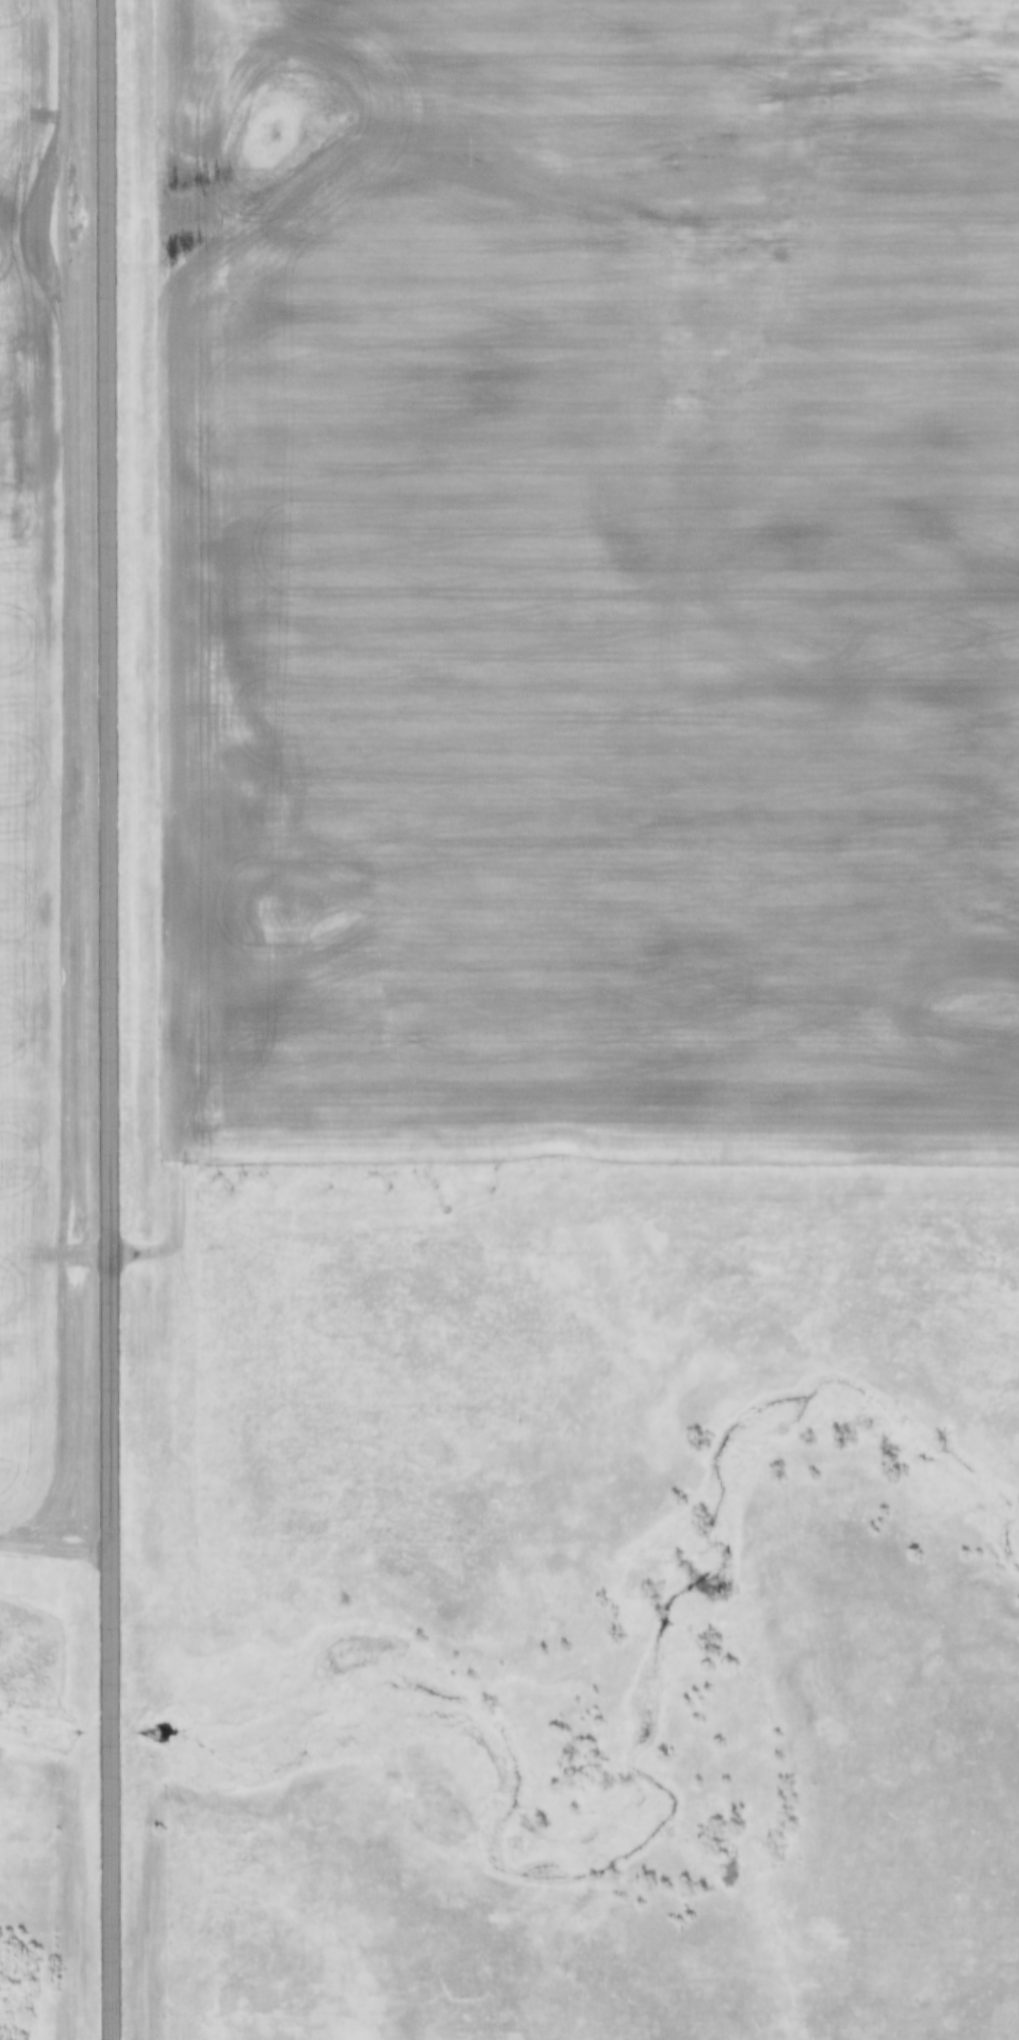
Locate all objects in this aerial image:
road: (111, 1019)
road: (56, 1553)

